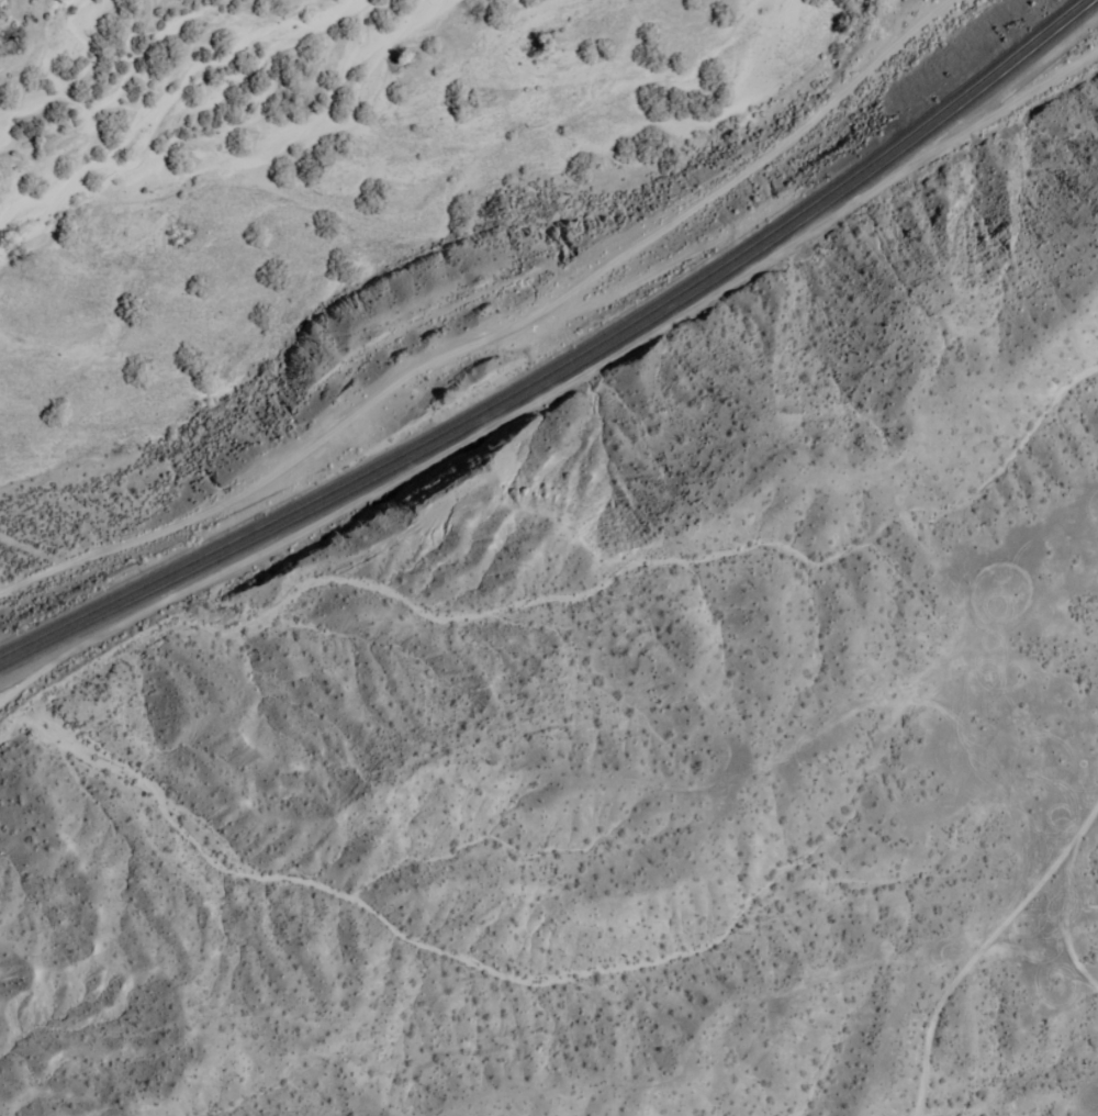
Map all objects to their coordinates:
road: (495, 336)
railway: (562, 365)
railway: (570, 370)

